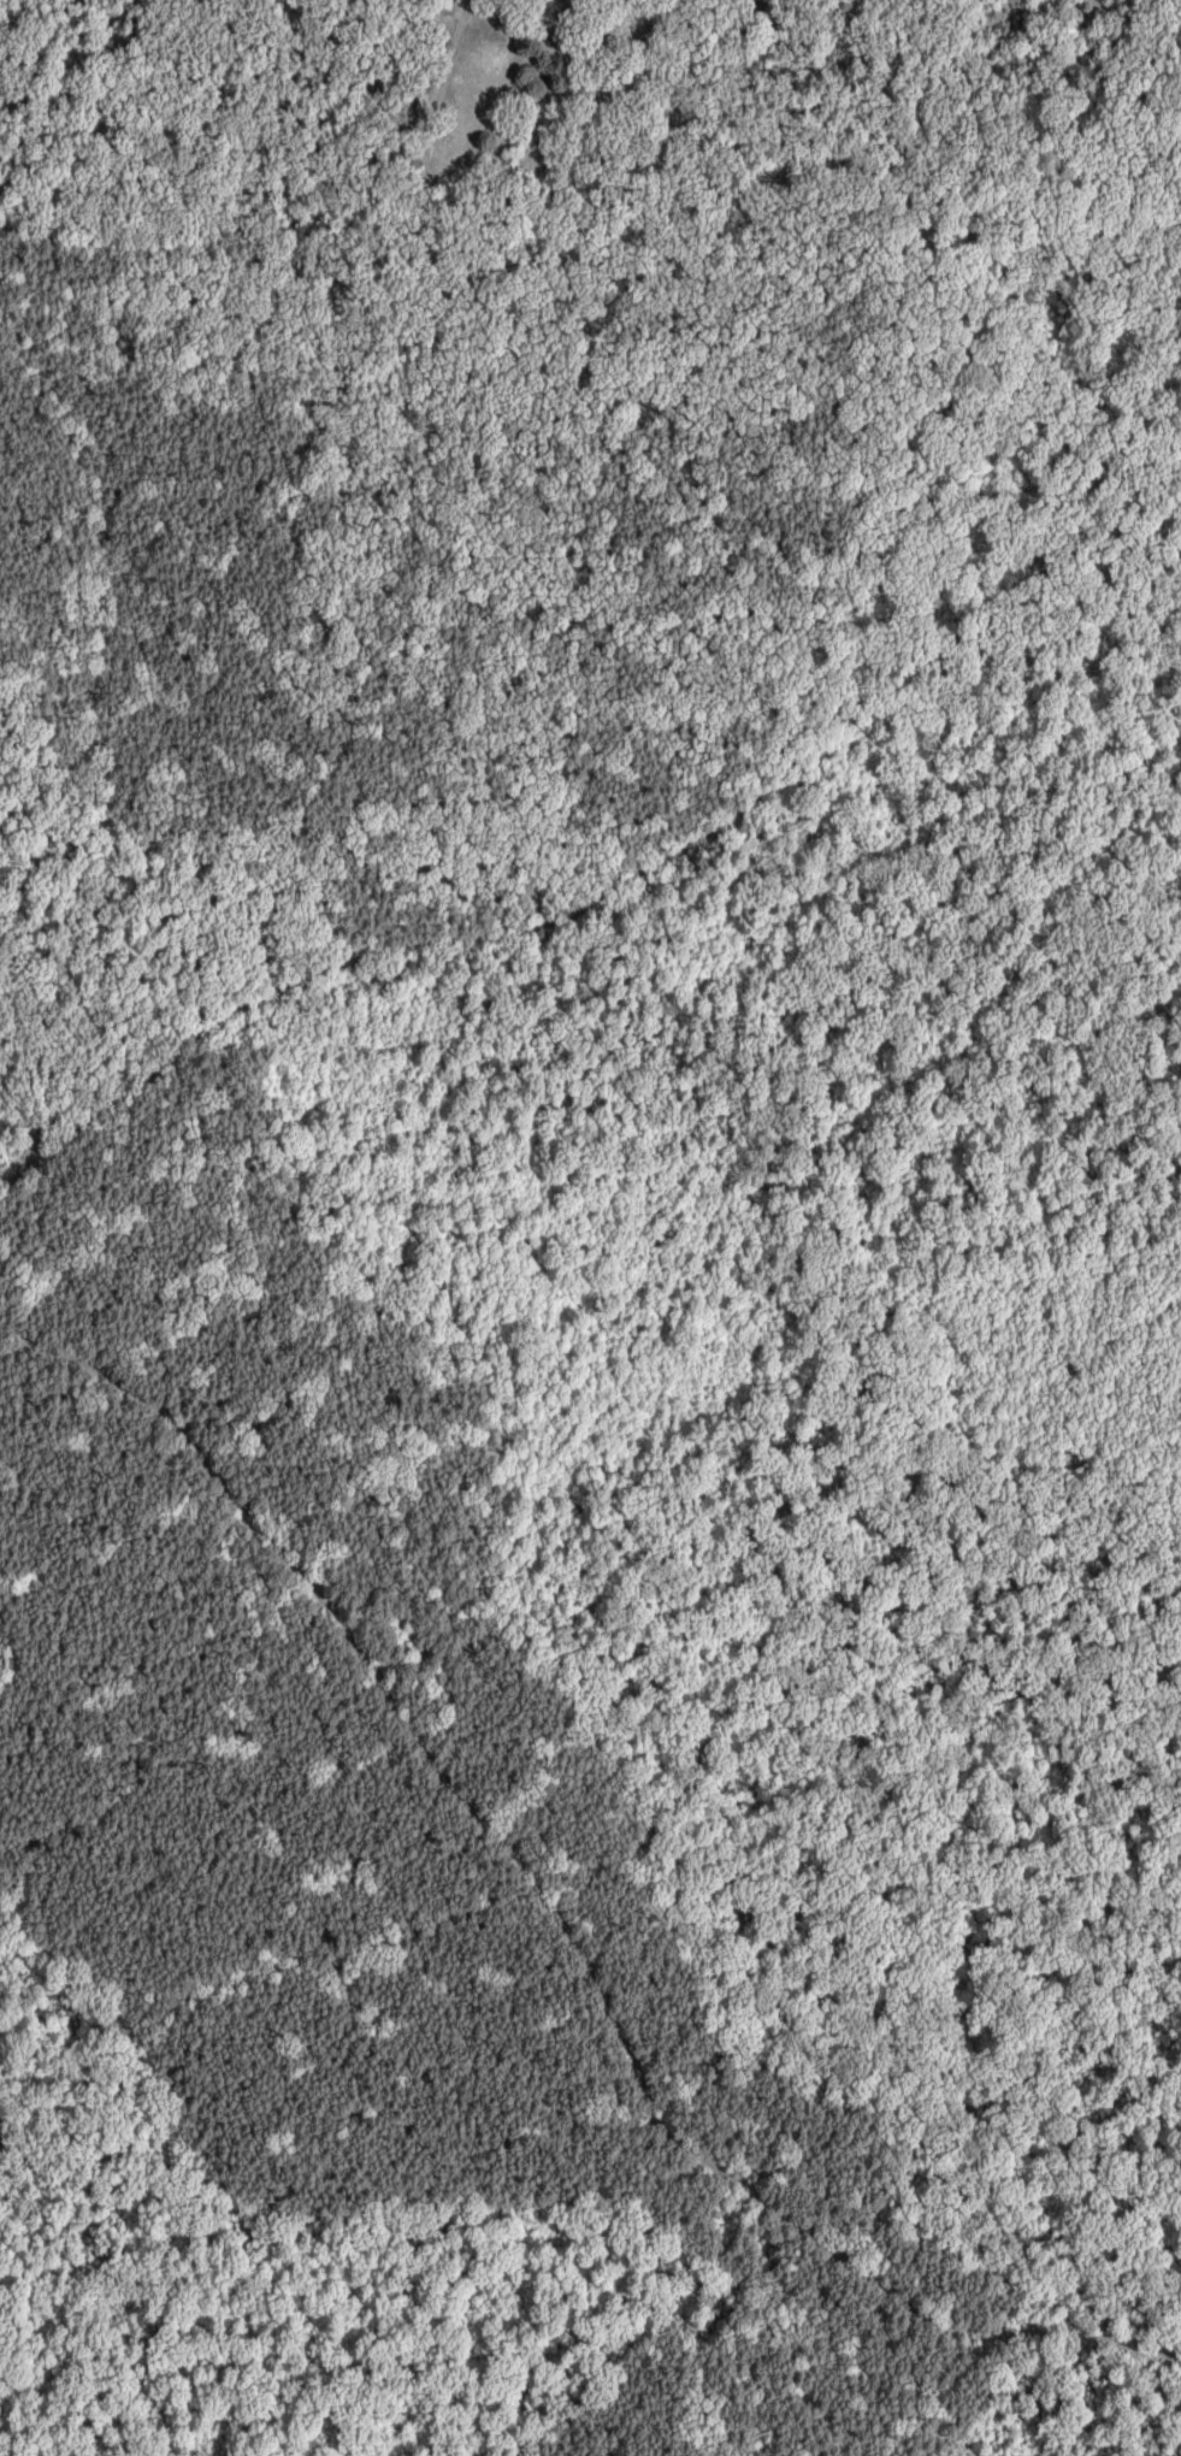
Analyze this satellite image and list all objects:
road: (561, 857)

